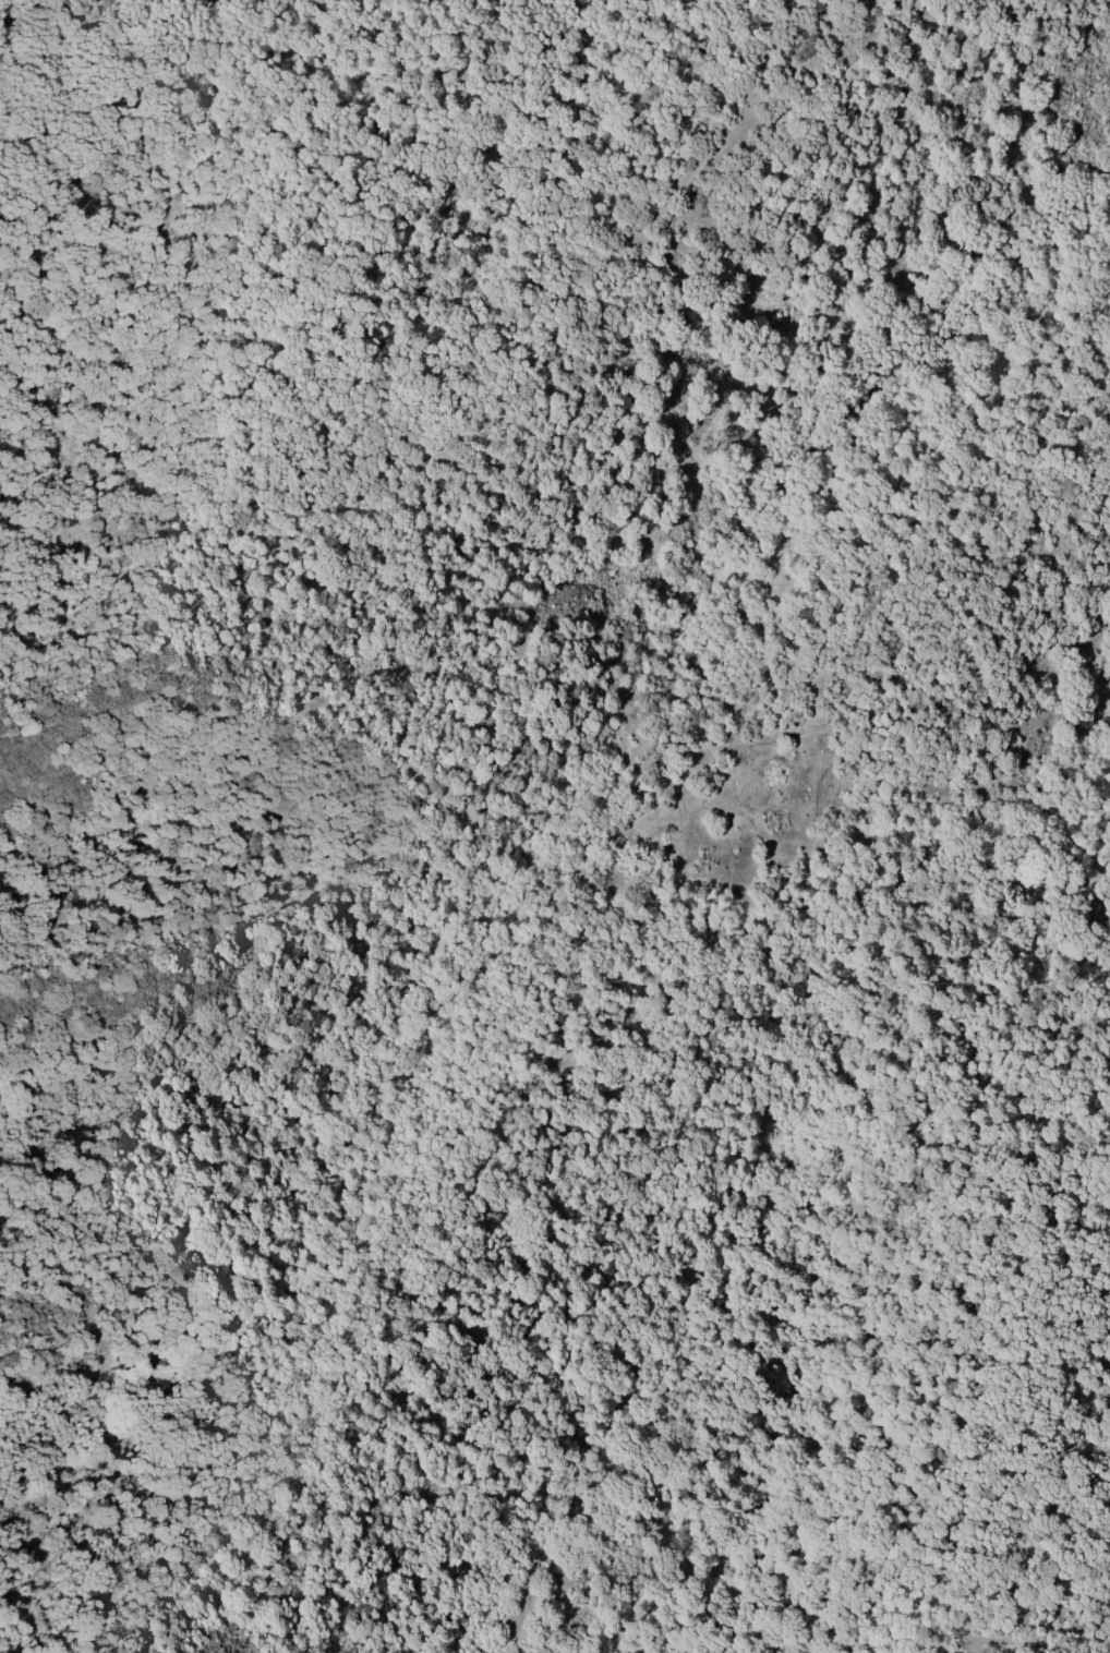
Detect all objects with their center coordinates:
road: (253, 619)
road: (1079, 850)
road: (486, 883)
road: (1097, 912)
road: (595, 1270)

